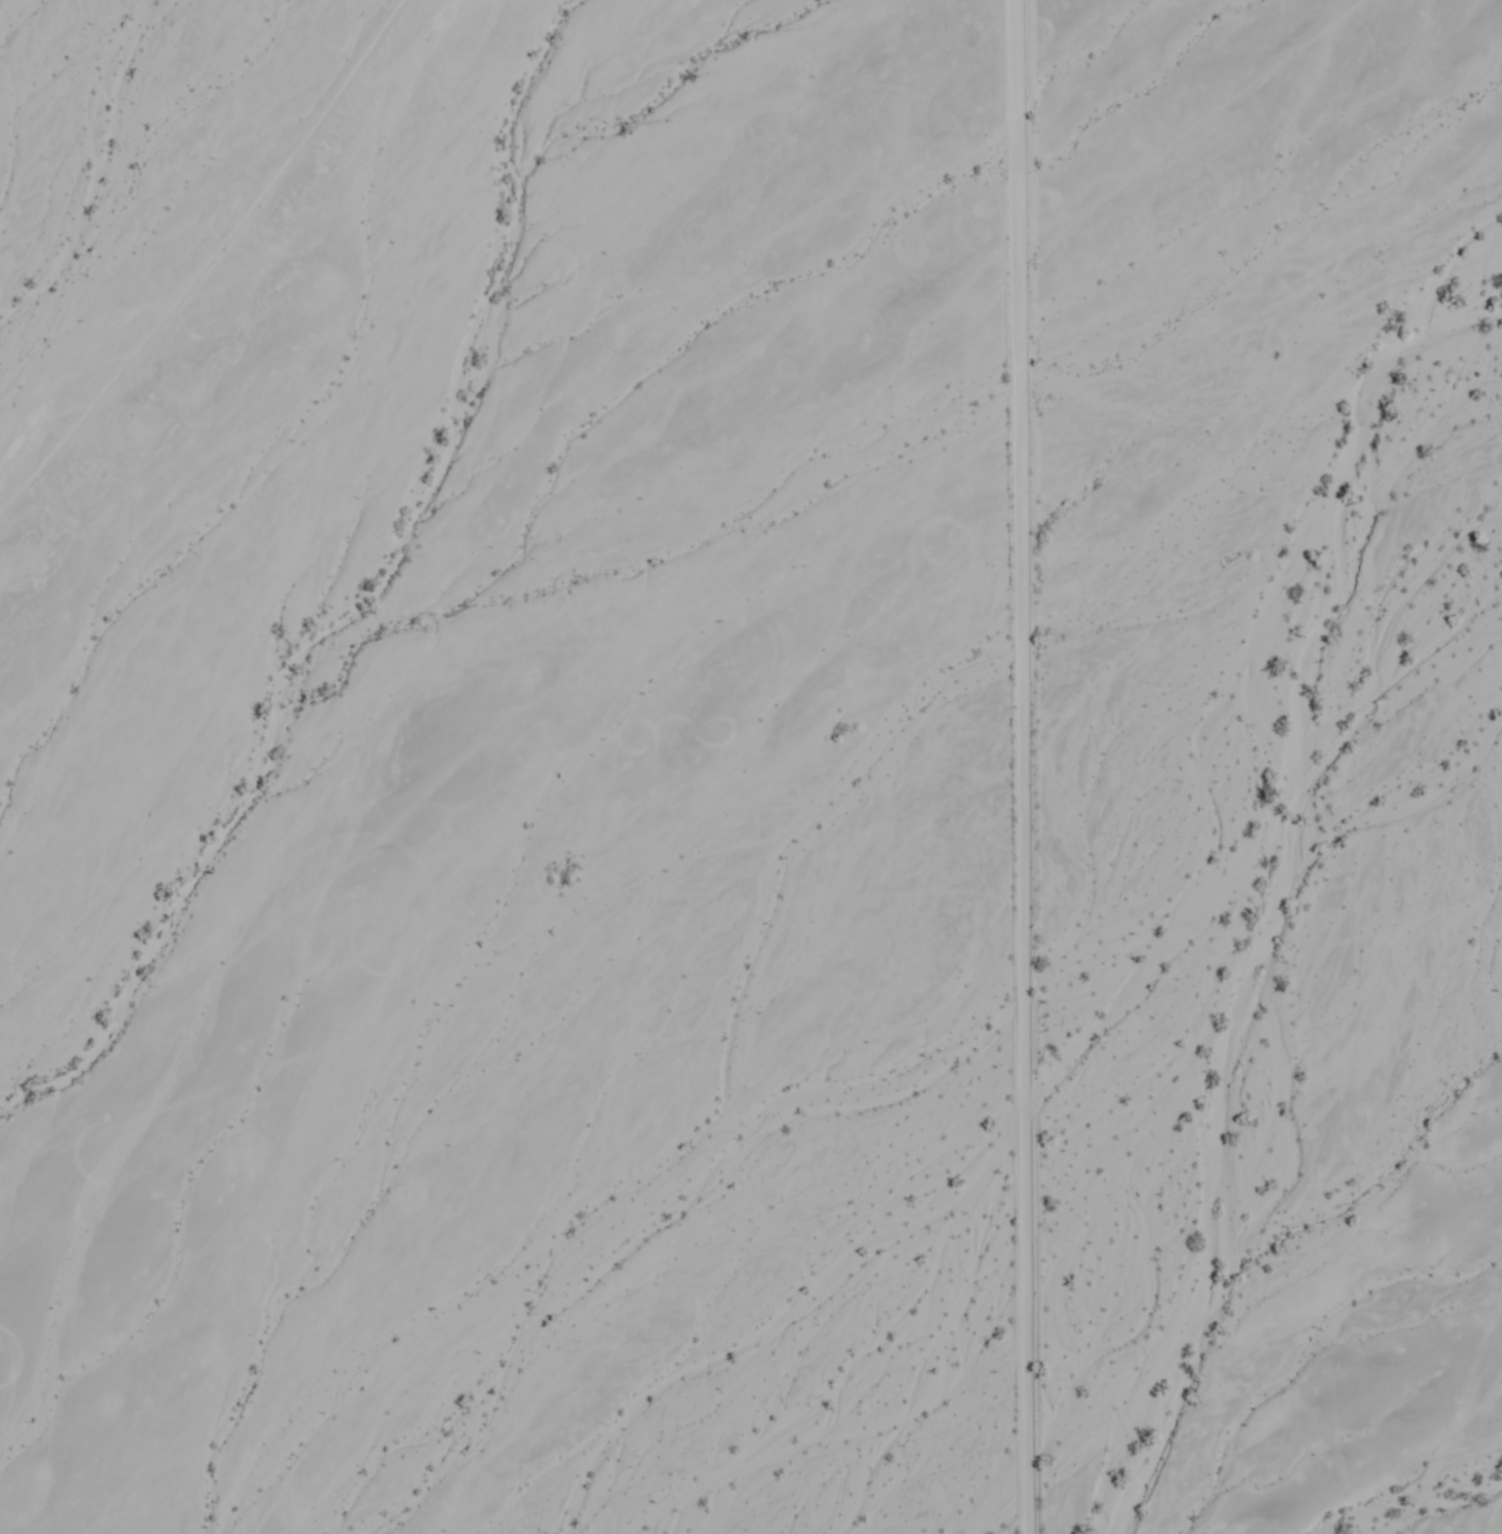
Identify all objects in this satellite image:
road: (1046, 767)

